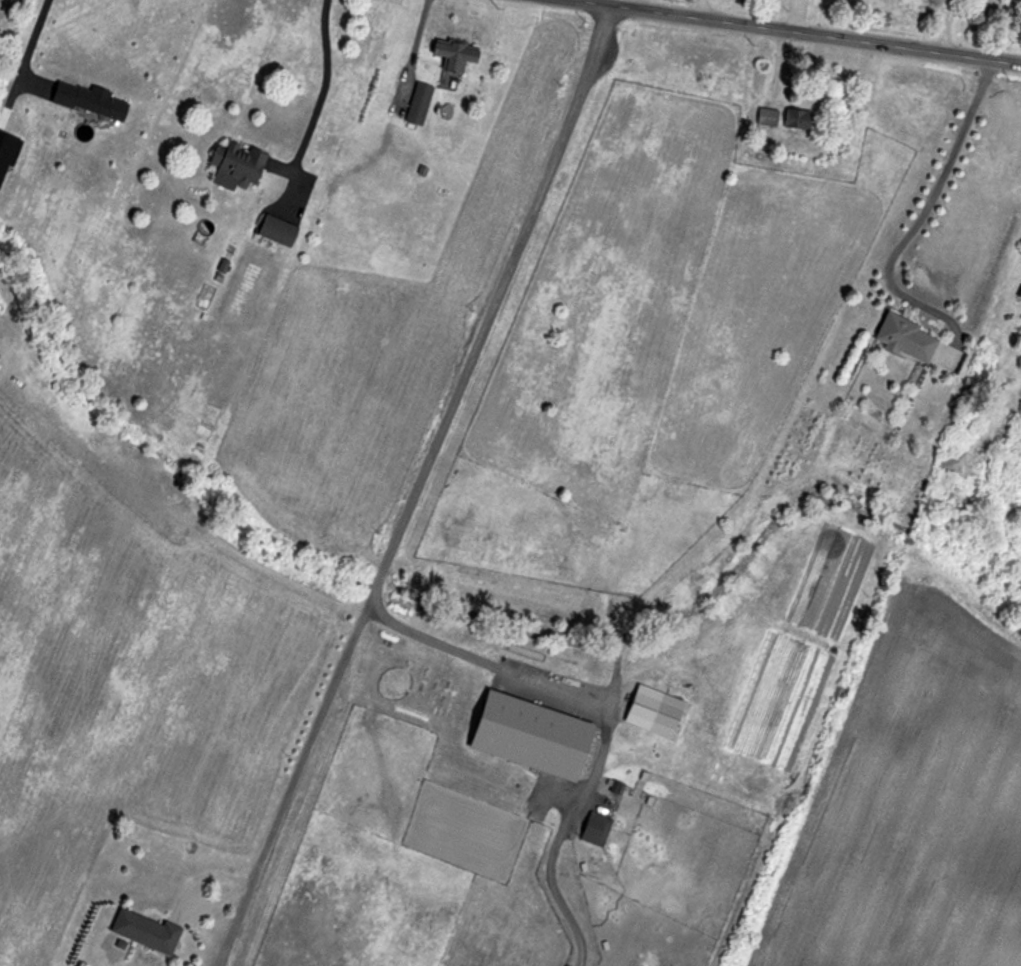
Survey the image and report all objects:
road: (948, 24)
road: (802, 28)
road: (35, 40)
building: (455, 54)
road: (324, 82)
building: (90, 101)
building: (419, 103)
building: (767, 118)
building: (798, 120)
building: (237, 165)
road: (928, 204)
building: (277, 231)
crop: (399, 333)
building: (906, 339)
crop: (655, 360)
road: (395, 552)
crop: (125, 667)
building: (643, 707)
building: (532, 736)
road: (291, 781)
crop: (914, 811)
building: (596, 830)
building: (146, 932)

